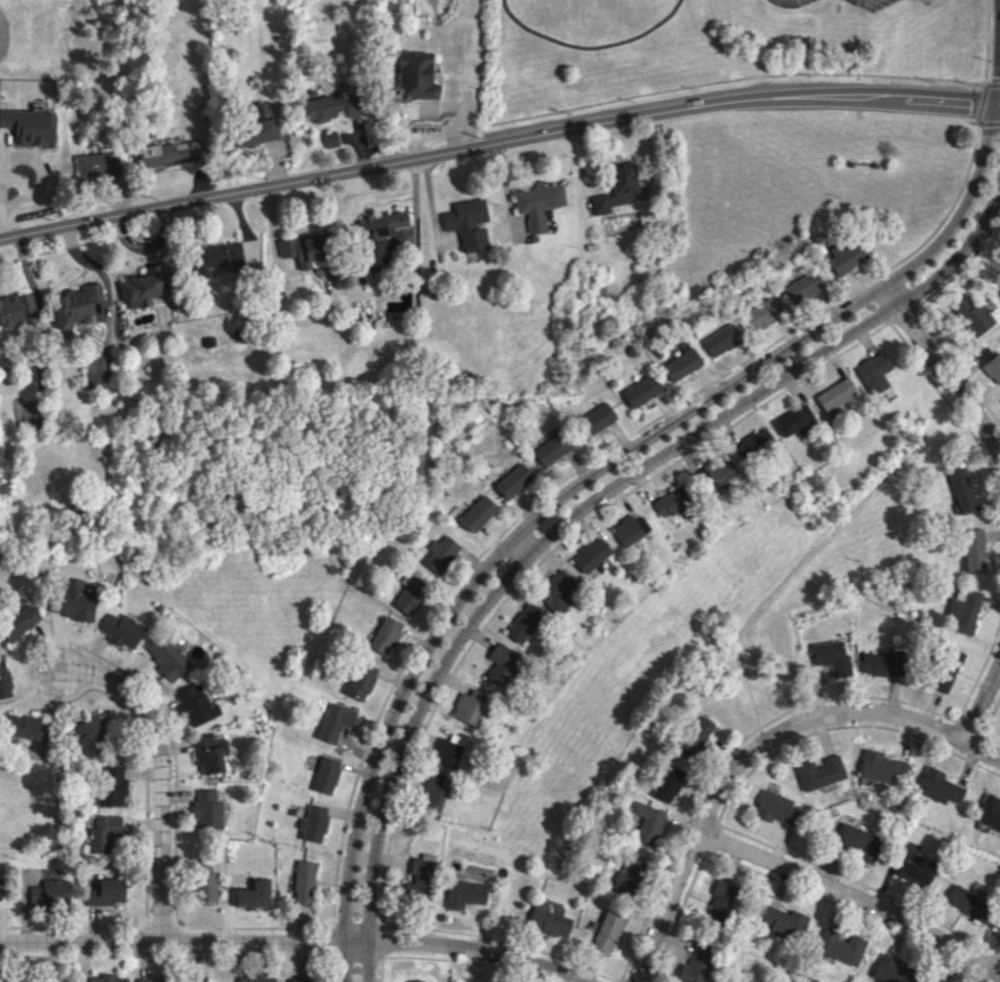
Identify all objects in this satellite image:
road: (987, 42)
building: (416, 76)
road: (722, 80)
road: (952, 100)
traffic signals: (970, 102)
building: (332, 107)
road: (979, 108)
building: (257, 126)
building: (331, 139)
building: (166, 151)
road: (450, 151)
building: (98, 164)
building: (616, 188)
road: (997, 189)
building: (538, 203)
building: (468, 223)
building: (379, 234)
building: (304, 251)
building: (226, 256)
building: (846, 257)
building: (806, 285)
building: (142, 287)
building: (402, 300)
building: (75, 305)
building: (15, 309)
building: (762, 313)
building: (972, 315)
building: (722, 339)
building: (206, 344)
building: (681, 361)
building: (989, 362)
road: (941, 371)
building: (873, 372)
building: (640, 390)
building: (835, 394)
building: (595, 419)
building: (791, 420)
building: (751, 442)
building: (551, 448)
building: (715, 470)
building: (513, 480)
road: (581, 481)
building: (961, 490)
building: (669, 501)
building: (477, 512)
road: (574, 512)
building: (628, 529)
building: (973, 550)
building: (440, 552)
building: (590, 554)
building: (554, 591)
building: (409, 593)
building: (73, 600)
building: (964, 609)
building: (18, 623)
building: (524, 623)
building: (122, 629)
building: (385, 635)
building: (166, 656)
building: (831, 656)
building: (501, 662)
building: (880, 663)
building: (946, 668)
building: (4, 679)
building: (361, 680)
road: (981, 700)
building: (195, 704)
building: (467, 705)
building: (334, 721)
building: (25, 726)
building: (88, 733)
building: (696, 736)
building: (207, 748)
road: (753, 748)
building: (447, 751)
building: (881, 767)
road: (161, 771)
building: (819, 772)
building: (325, 774)
building: (667, 783)
building: (111, 786)
building: (938, 786)
building: (432, 790)
building: (775, 807)
building: (989, 811)
building: (207, 814)
building: (648, 822)
building: (314, 823)
building: (103, 832)
building: (857, 841)
building: (917, 870)
building: (629, 874)
building: (418, 875)
building: (206, 879)
building: (0, 881)
building: (303, 882)
building: (51, 892)
building: (107, 892)
building: (465, 893)
building: (254, 894)
road: (849, 894)
building: (721, 901)
building: (968, 902)
building: (549, 922)
building: (784, 922)
building: (608, 929)
road: (293, 941)
building: (840, 946)
building: (697, 963)
road: (995, 968)
building: (890, 970)
building: (107, 978)
building: (154, 979)
building: (255, 979)
building: (202, 980)
building: (298, 980)
building: (415, 980)
building: (734, 981)

